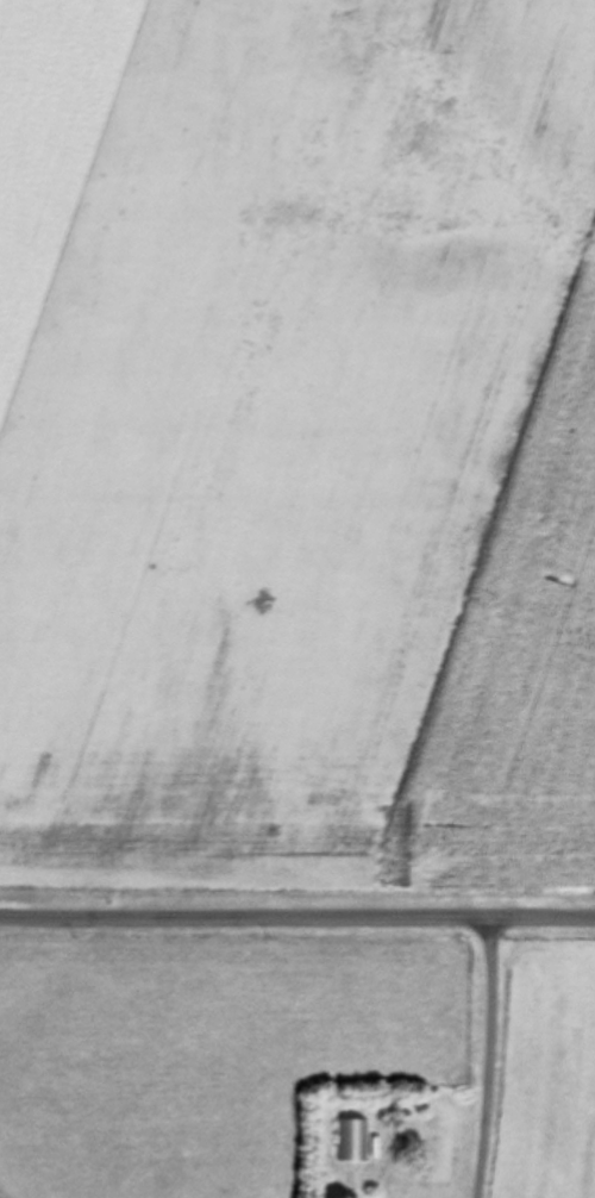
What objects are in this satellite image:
road: (297, 915)
road: (481, 1057)
building: (350, 1140)

